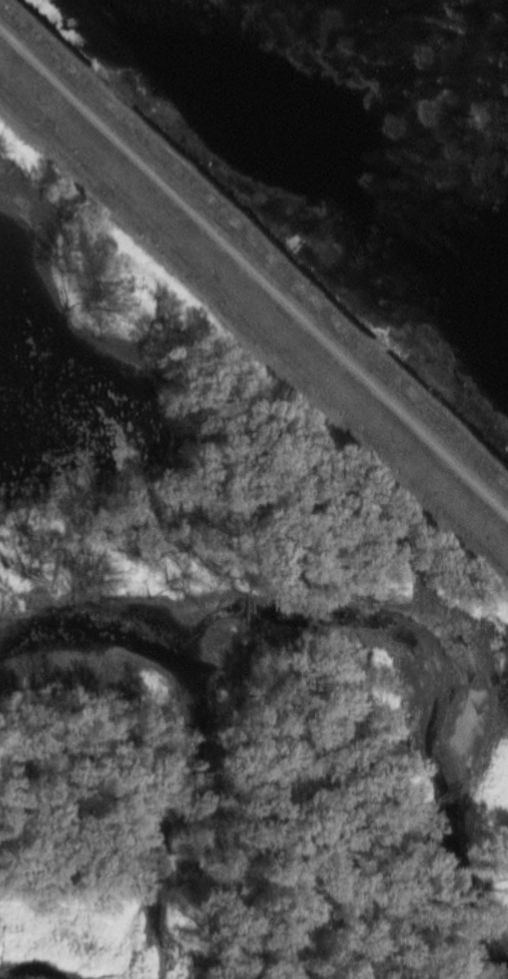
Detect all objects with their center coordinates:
dam: (254, 290)

